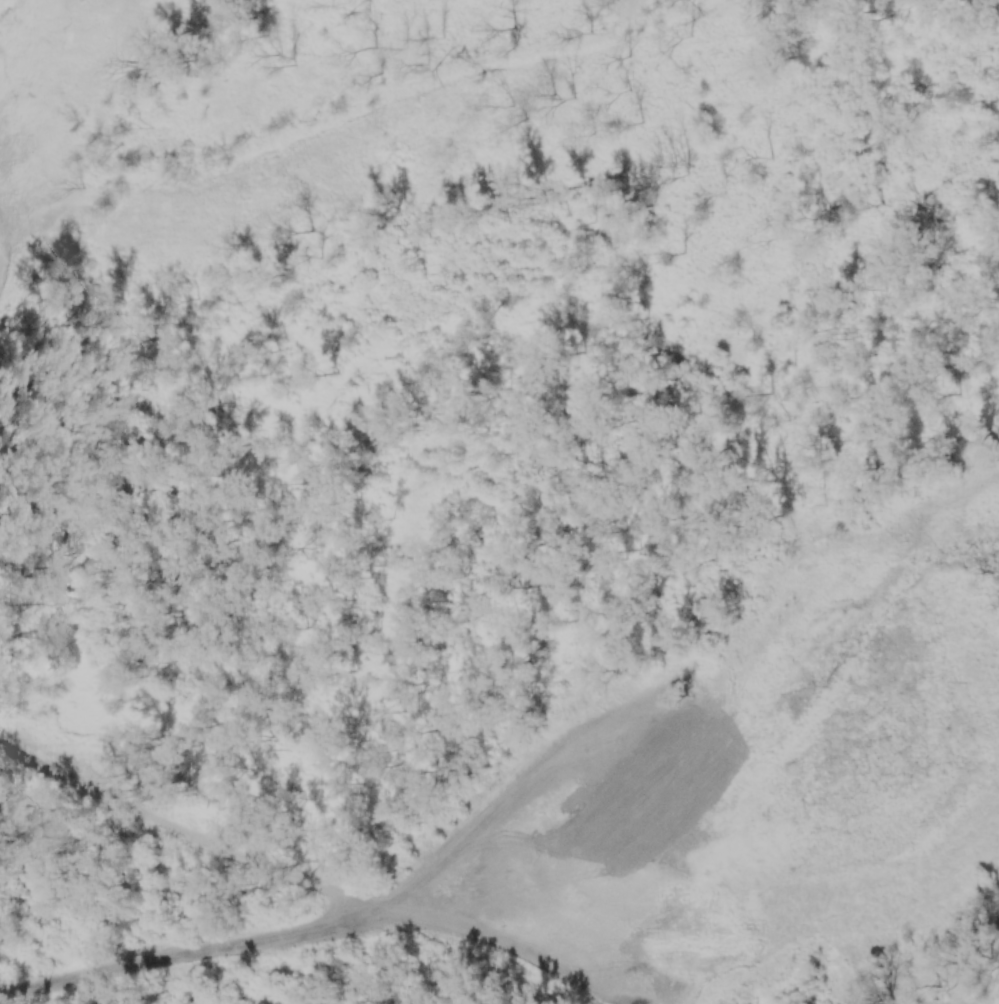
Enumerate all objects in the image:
park: (499, 502)
road: (518, 769)
road: (180, 827)
road: (871, 929)
road: (474, 946)
road: (181, 954)

